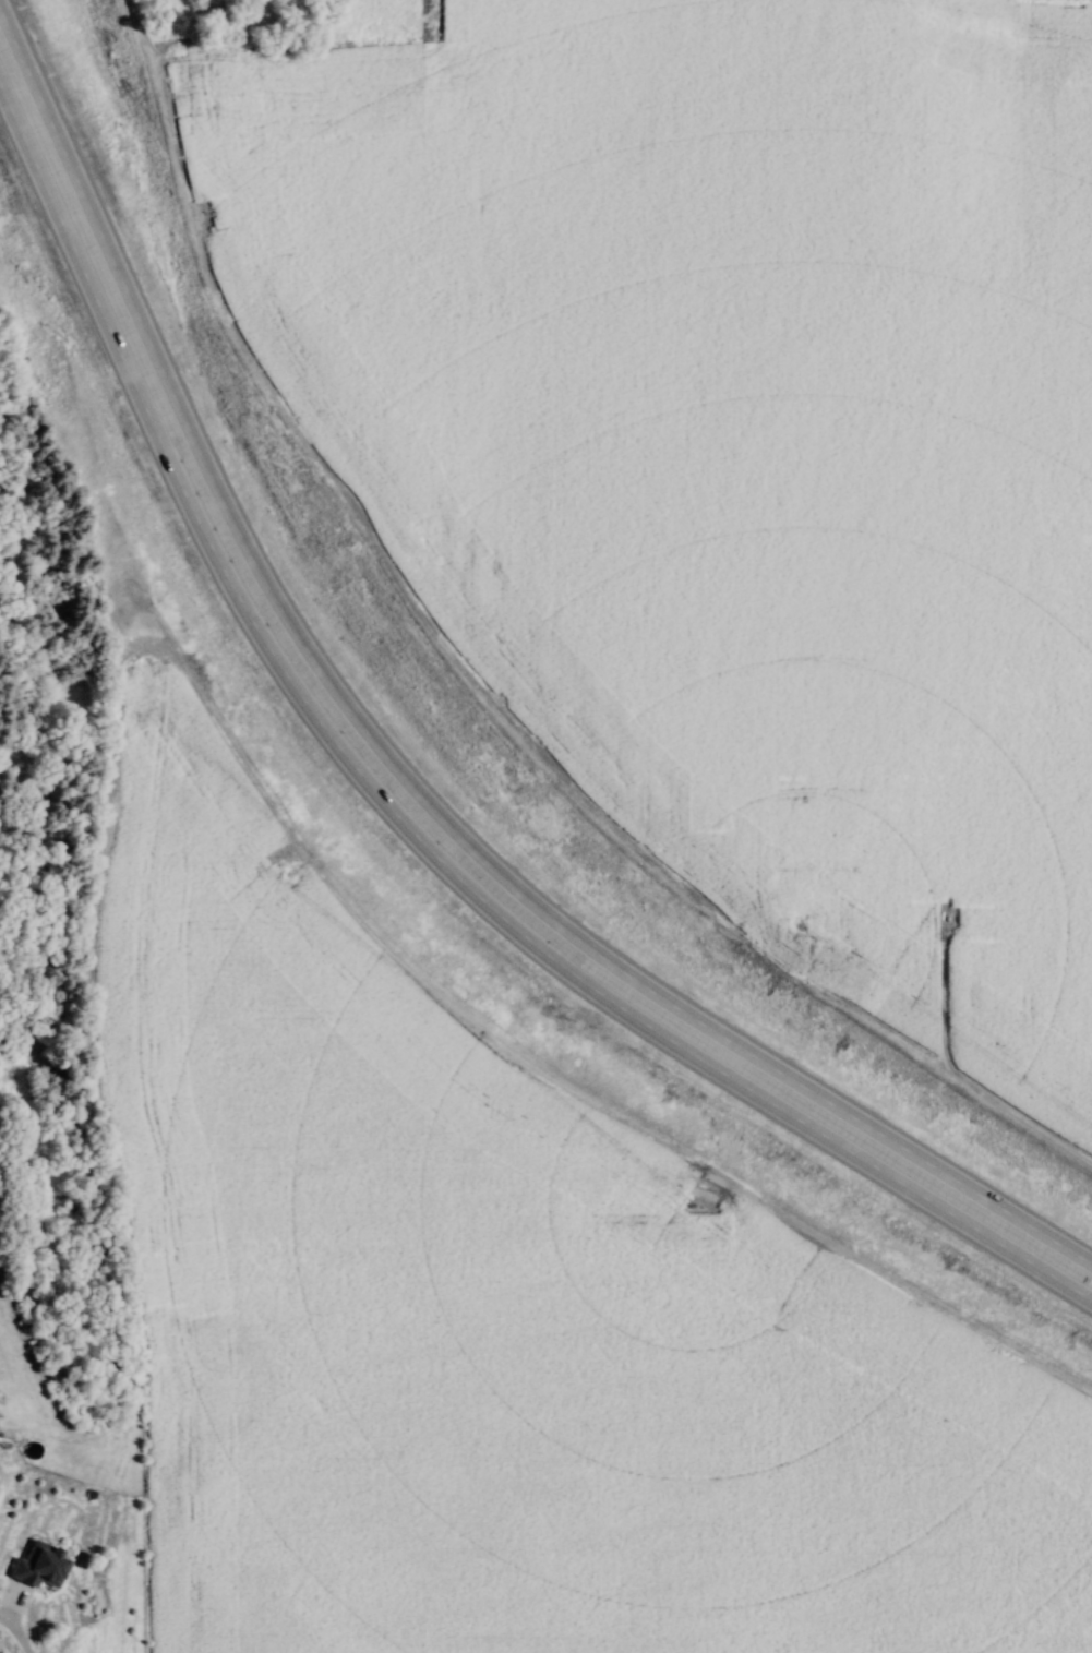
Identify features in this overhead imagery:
road: (389, 768)
road: (394, 822)
crop: (509, 1326)
building: (40, 1565)

